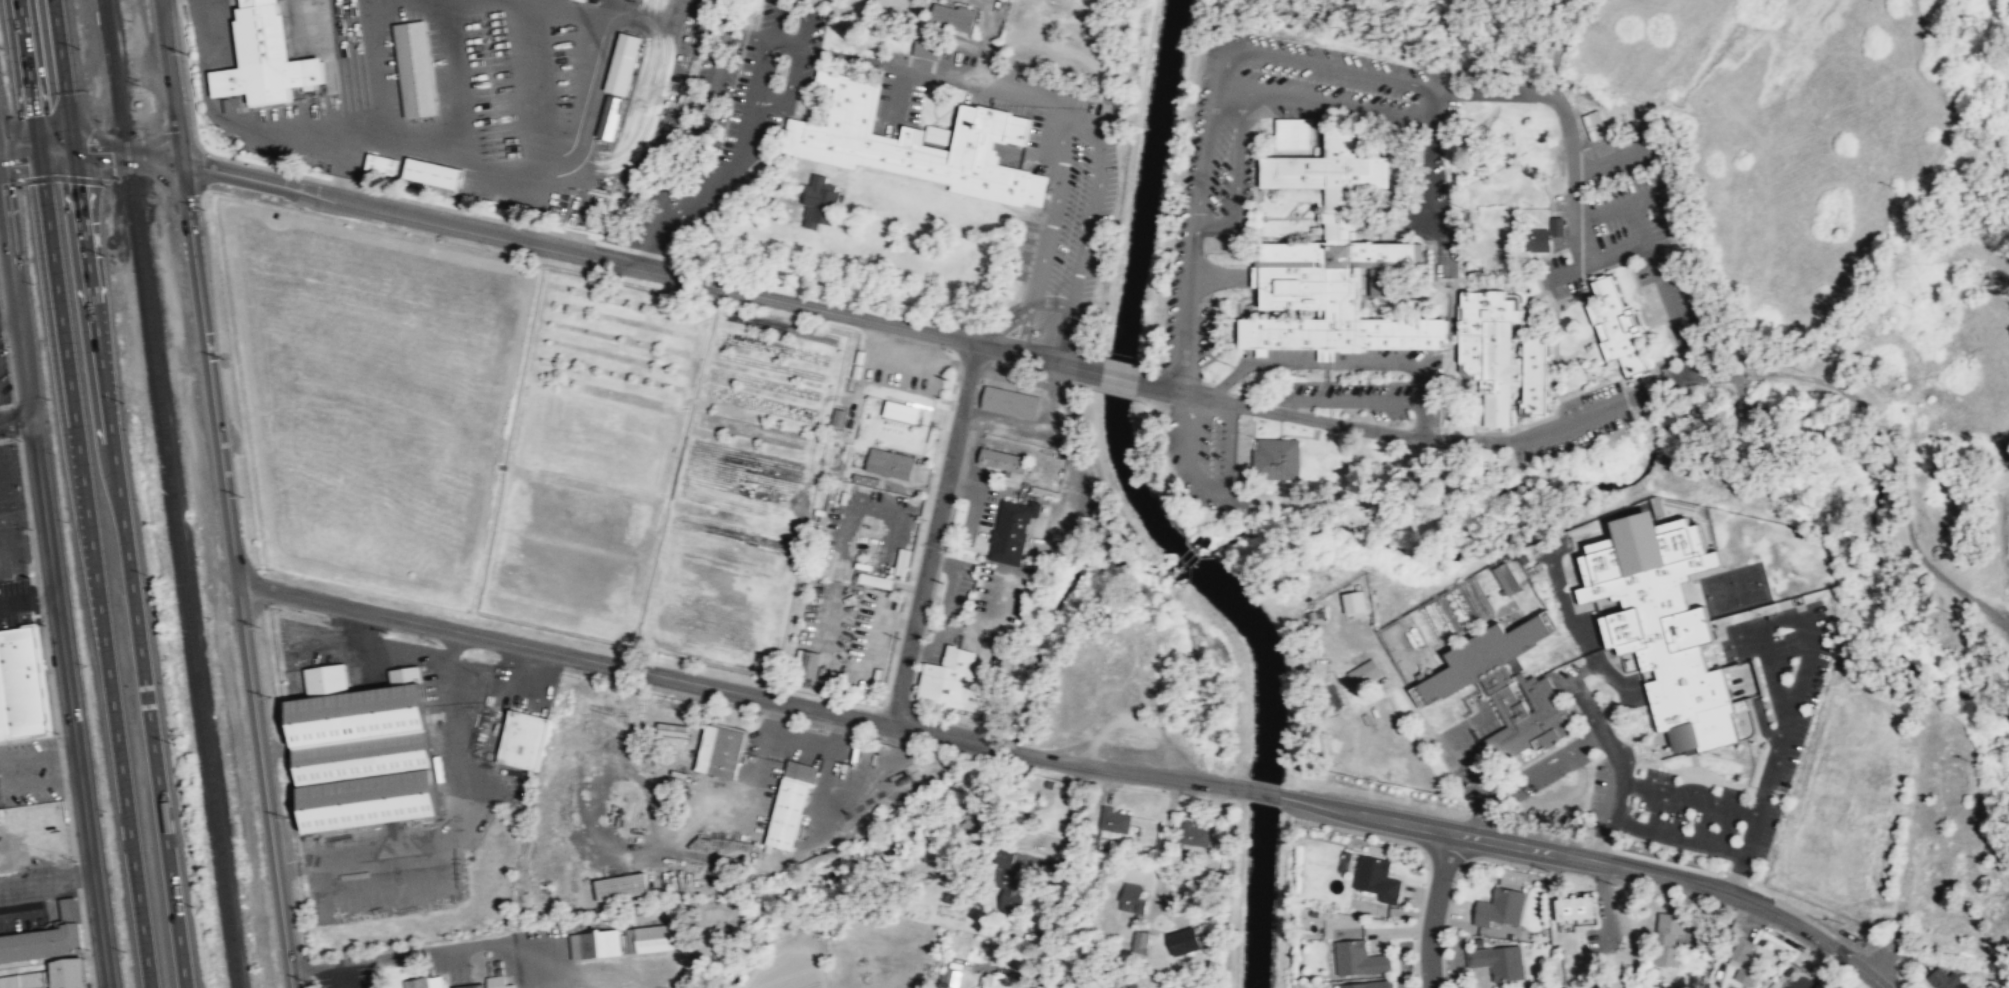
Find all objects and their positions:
building: (583, 0)
road: (789, 9)
building: (955, 17)
road: (783, 42)
road: (1560, 43)
building: (928, 49)
road: (848, 56)
building: (264, 59)
building: (624, 62)
building: (416, 68)
road: (63, 75)
road: (961, 83)
road: (1417, 83)
road: (786, 88)
road: (1230, 89)
road: (708, 108)
road: (1560, 108)
road: (1075, 113)
building: (611, 116)
building: (1289, 132)
building: (915, 143)
road: (744, 145)
traffic signals: (74, 152)
road: (36, 153)
road: (1207, 153)
building: (382, 162)
road: (1426, 170)
building: (432, 171)
road: (1237, 177)
building: (822, 201)
road: (46, 207)
road: (2, 209)
road: (1594, 213)
building: (1555, 225)
building: (1535, 239)
road: (525, 243)
road: (651, 243)
road: (1615, 251)
road: (1585, 259)
building: (1332, 263)
road: (92, 282)
road: (1043, 301)
road: (1673, 313)
building: (1618, 324)
road: (1016, 352)
building: (1501, 355)
road: (1348, 360)
road: (1078, 367)
building: (894, 368)
road: (1119, 377)
building: (922, 380)
road: (1148, 384)
road: (1351, 399)
building: (1010, 402)
road: (1187, 408)
building: (903, 410)
building: (838, 417)
road: (16, 421)
crop: (523, 434)
road: (1404, 435)
building: (1273, 457)
building: (1002, 460)
building: (889, 463)
road: (227, 493)
railway: (173, 494)
building: (1011, 531)
road: (935, 534)
building: (902, 561)
building: (1504, 578)
building: (875, 580)
road: (54, 584)
park: (1735, 589)
building: (1350, 601)
building: (1664, 623)
road: (564, 653)
building: (1563, 658)
building: (810, 663)
building: (1364, 674)
building: (954, 680)
building: (21, 683)
building: (1506, 687)
road: (1796, 689)
road: (112, 701)
road: (146, 701)
road: (1585, 705)
building: (674, 732)
road: (940, 734)
building: (521, 737)
road: (1459, 743)
road: (1008, 748)
building: (363, 749)
building: (720, 751)
road: (1545, 755)
road: (1137, 772)
road: (5, 774)
road: (1264, 792)
road: (1614, 798)
building: (790, 804)
building: (977, 813)
building: (1115, 822)
building: (1196, 835)
road: (1604, 840)
road: (1526, 846)
building: (1376, 879)
road: (47, 883)
building: (1009, 884)
building: (620, 887)
building: (1132, 898)
building: (1575, 907)
road: (1435, 909)
building: (1501, 909)
building: (648, 939)
building: (1668, 939)
building: (1185, 941)
building: (42, 942)
building: (1140, 942)
building: (595, 944)
road: (1830, 945)
road: (425, 951)
building: (1358, 960)
building: (1745, 961)
building: (1498, 963)
building: (950, 973)
road: (338, 975)
building: (48, 977)
building: (995, 980)
building: (1945, 980)
building: (497, 982)
building: (417, 983)
building: (470, 985)
building: (1365, 985)

